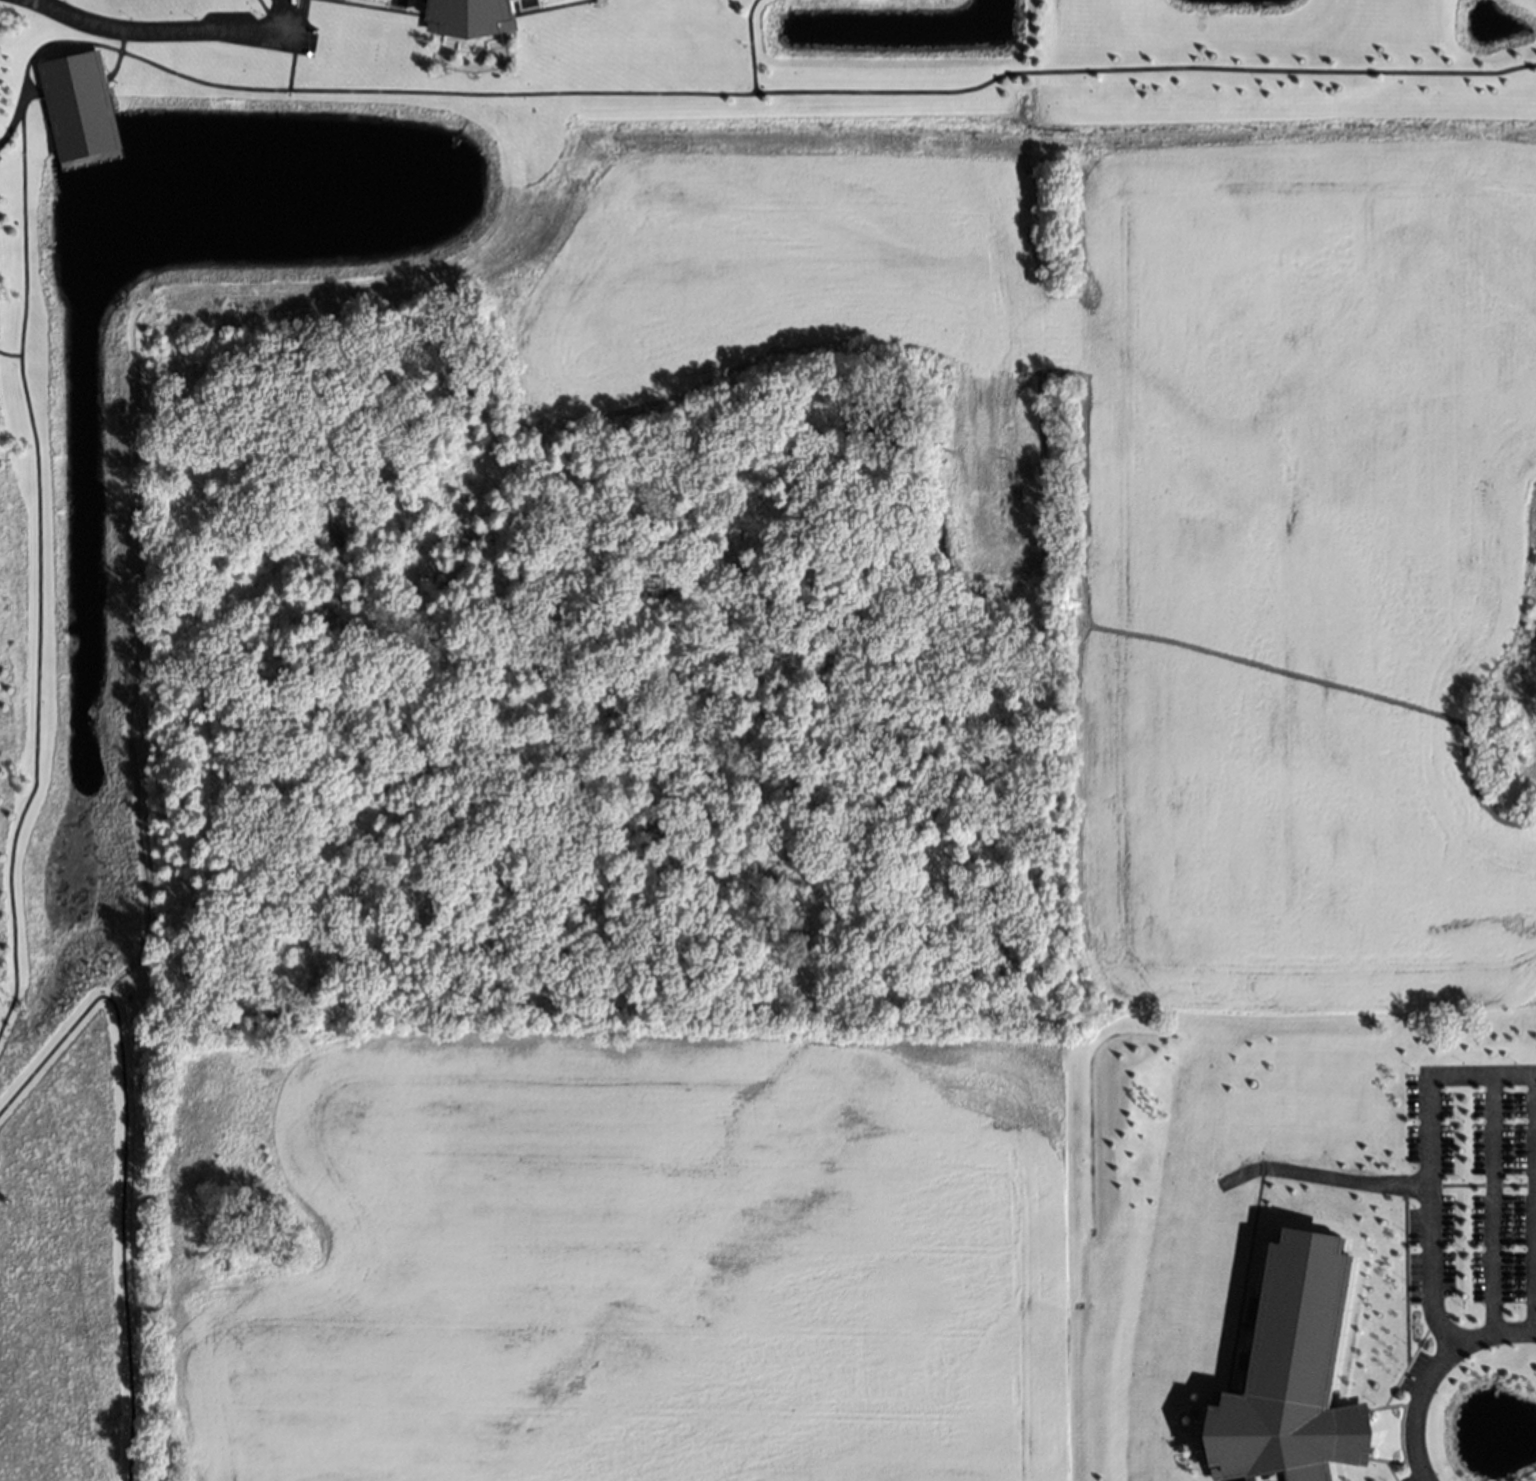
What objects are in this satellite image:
building: (469, 19)
road: (153, 28)
road: (15, 125)
road: (1430, 1160)
road: (116, 1163)
road: (1495, 1201)
road: (1534, 1201)
crop: (618, 1248)
road: (1429, 1369)
building: (1281, 1372)

